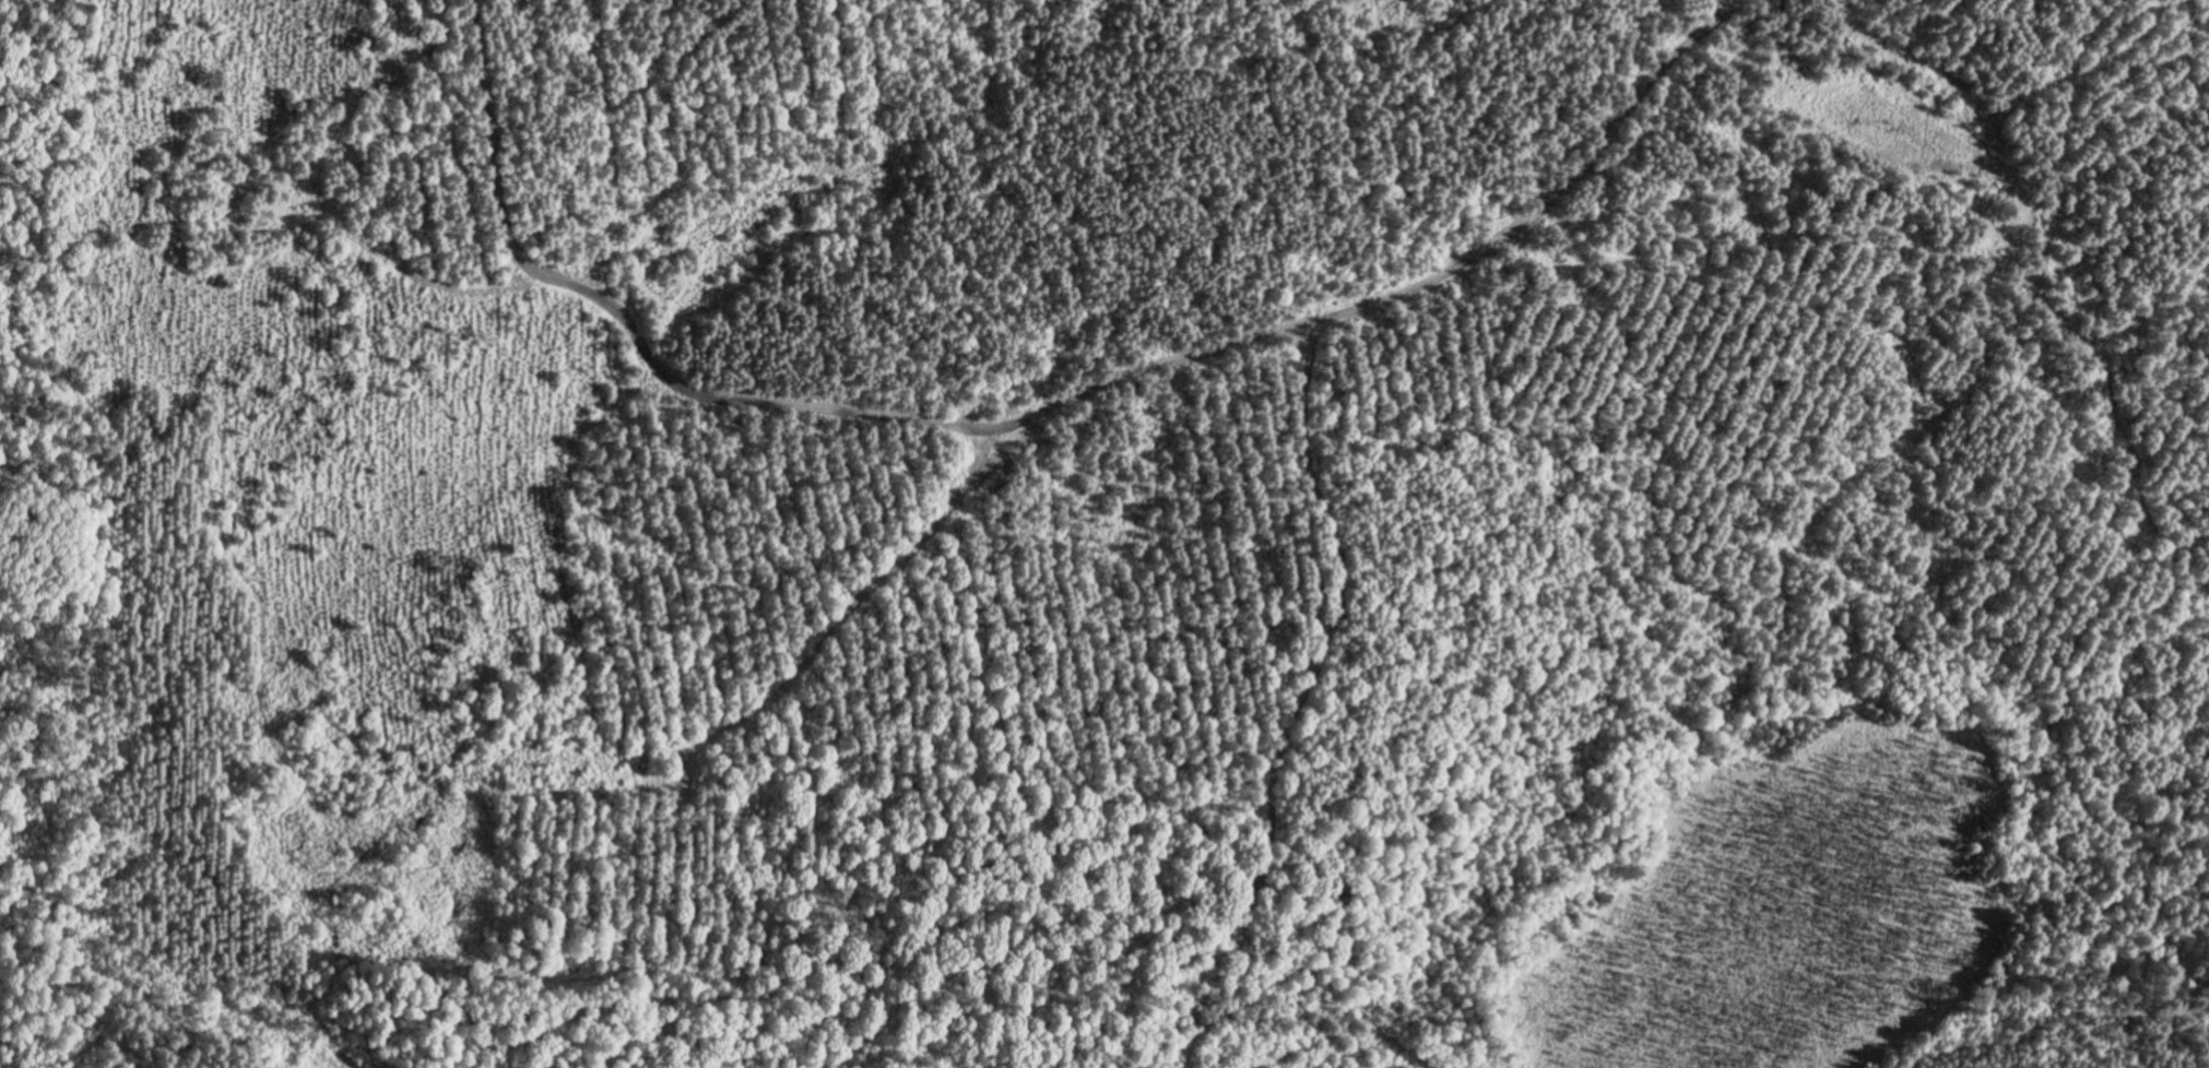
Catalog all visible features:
road: (941, 415)
road: (1322, 1048)

